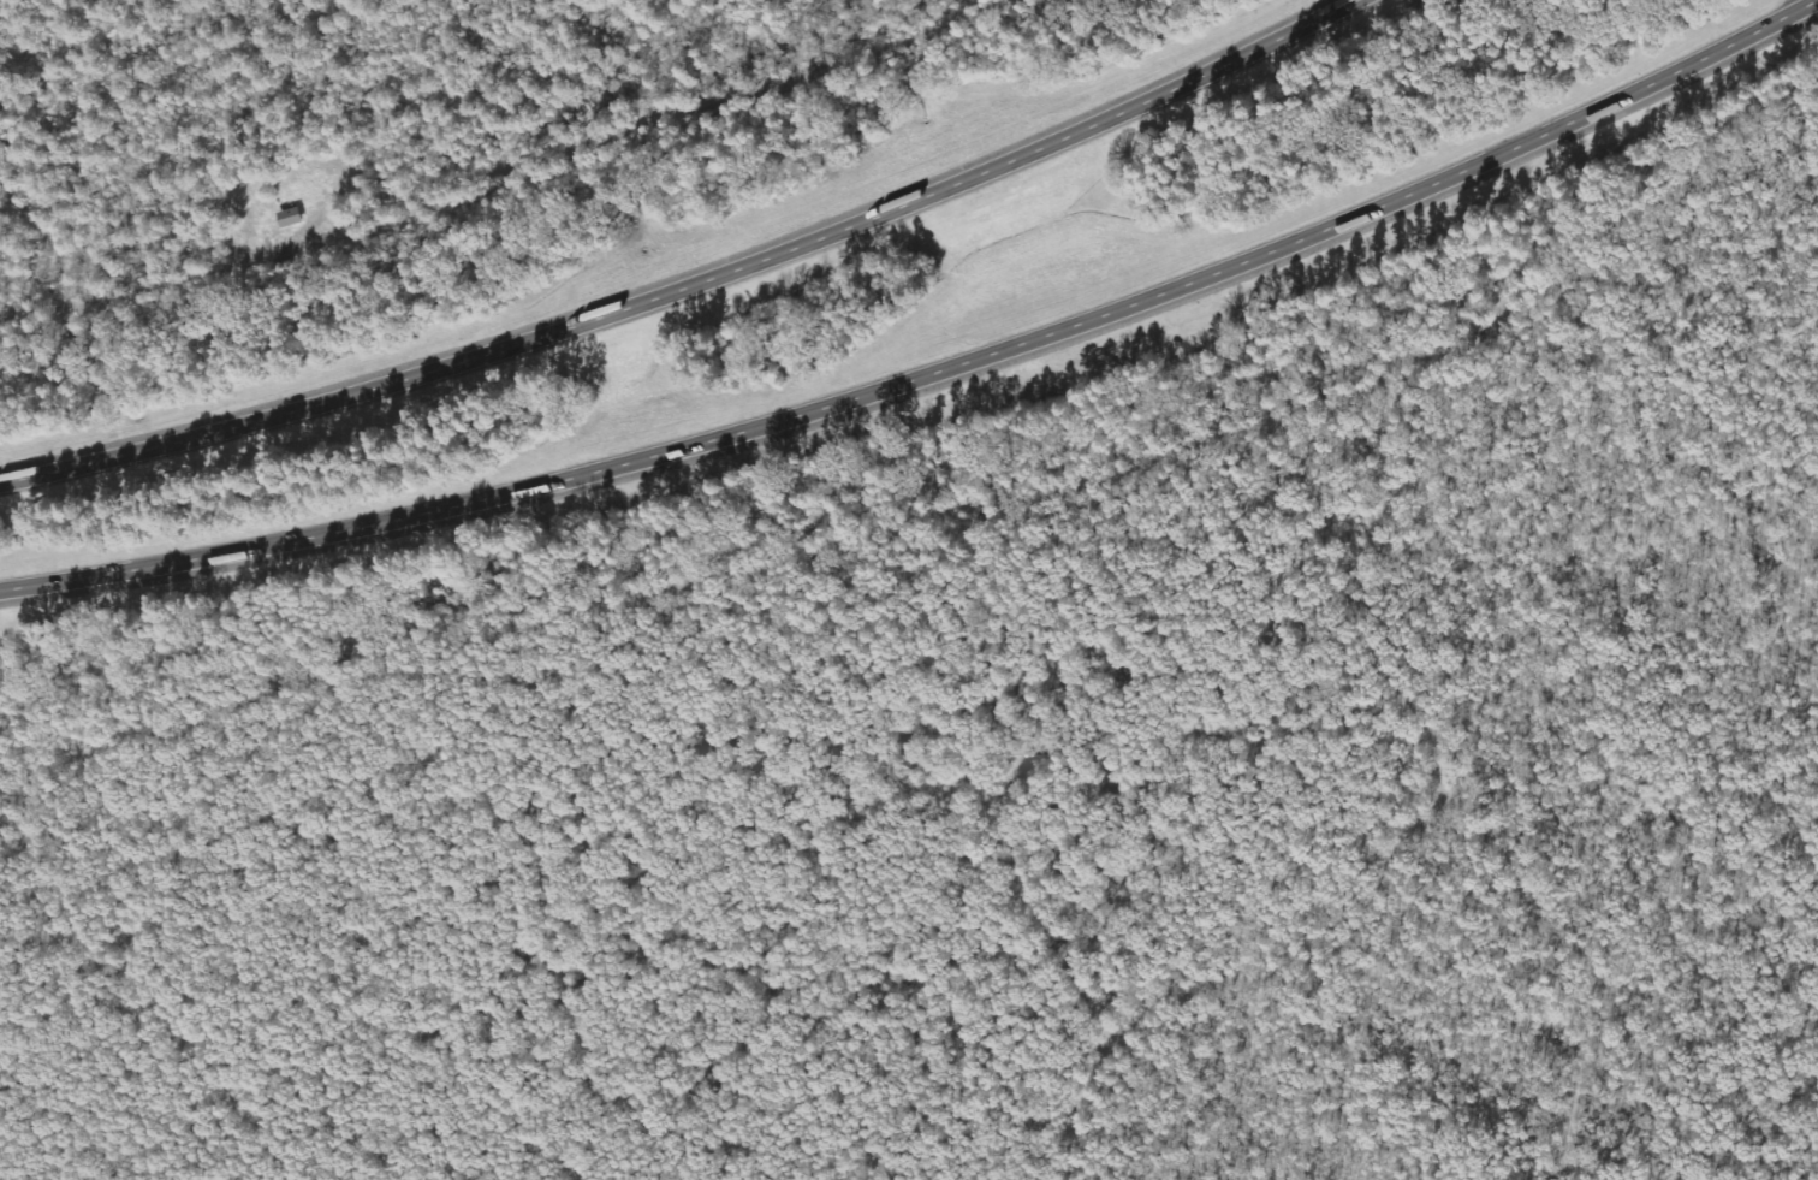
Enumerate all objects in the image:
building: (289, 218)
road: (685, 278)
road: (926, 366)

